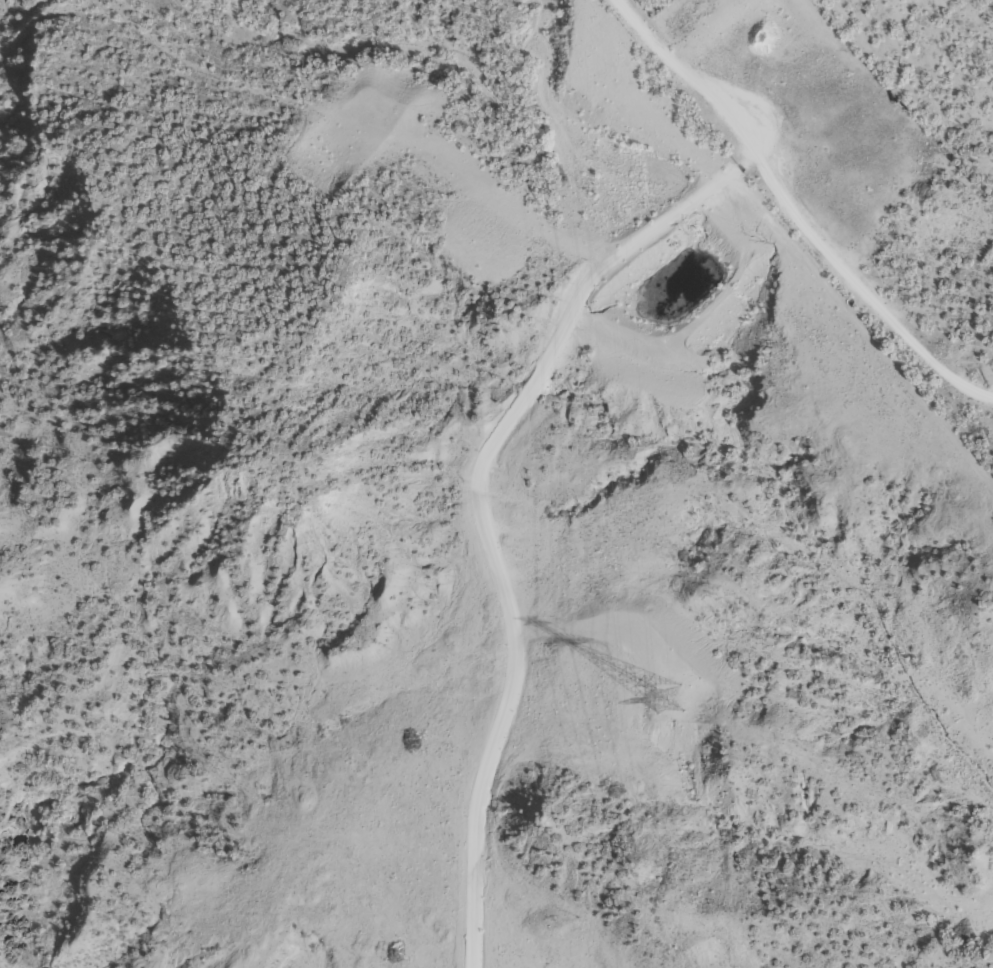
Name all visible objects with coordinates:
road: (802, 204)
power tower: (664, 700)

